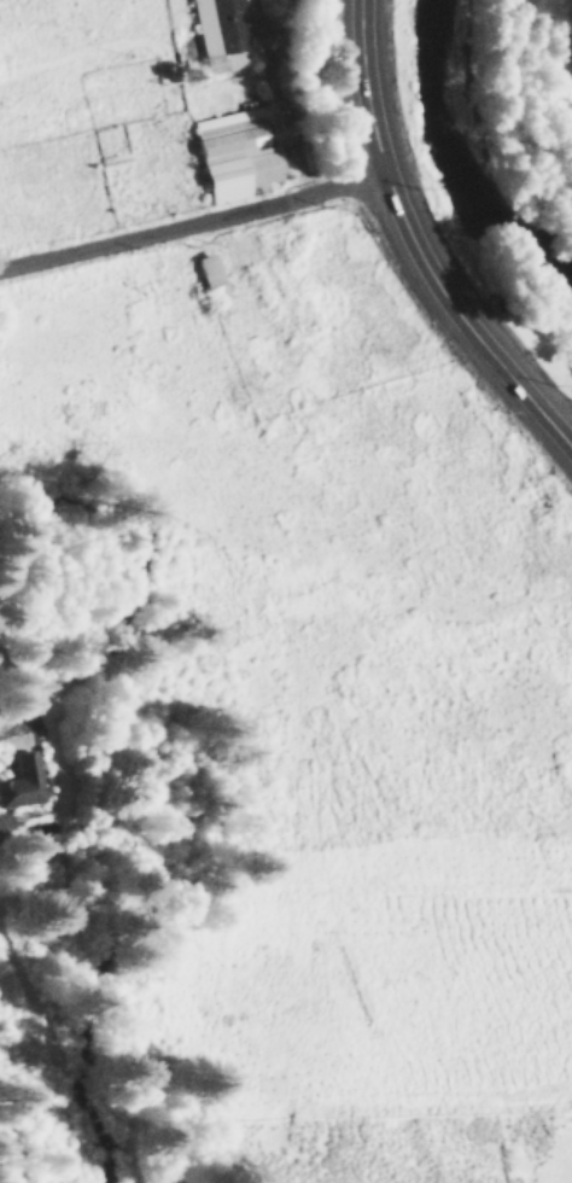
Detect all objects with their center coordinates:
building: (214, 19)
road: (366, 87)
building: (237, 151)
river: (461, 153)
road: (193, 220)
road: (463, 319)
quarry: (558, 345)
road: (12, 724)
building: (19, 780)
road: (31, 984)

